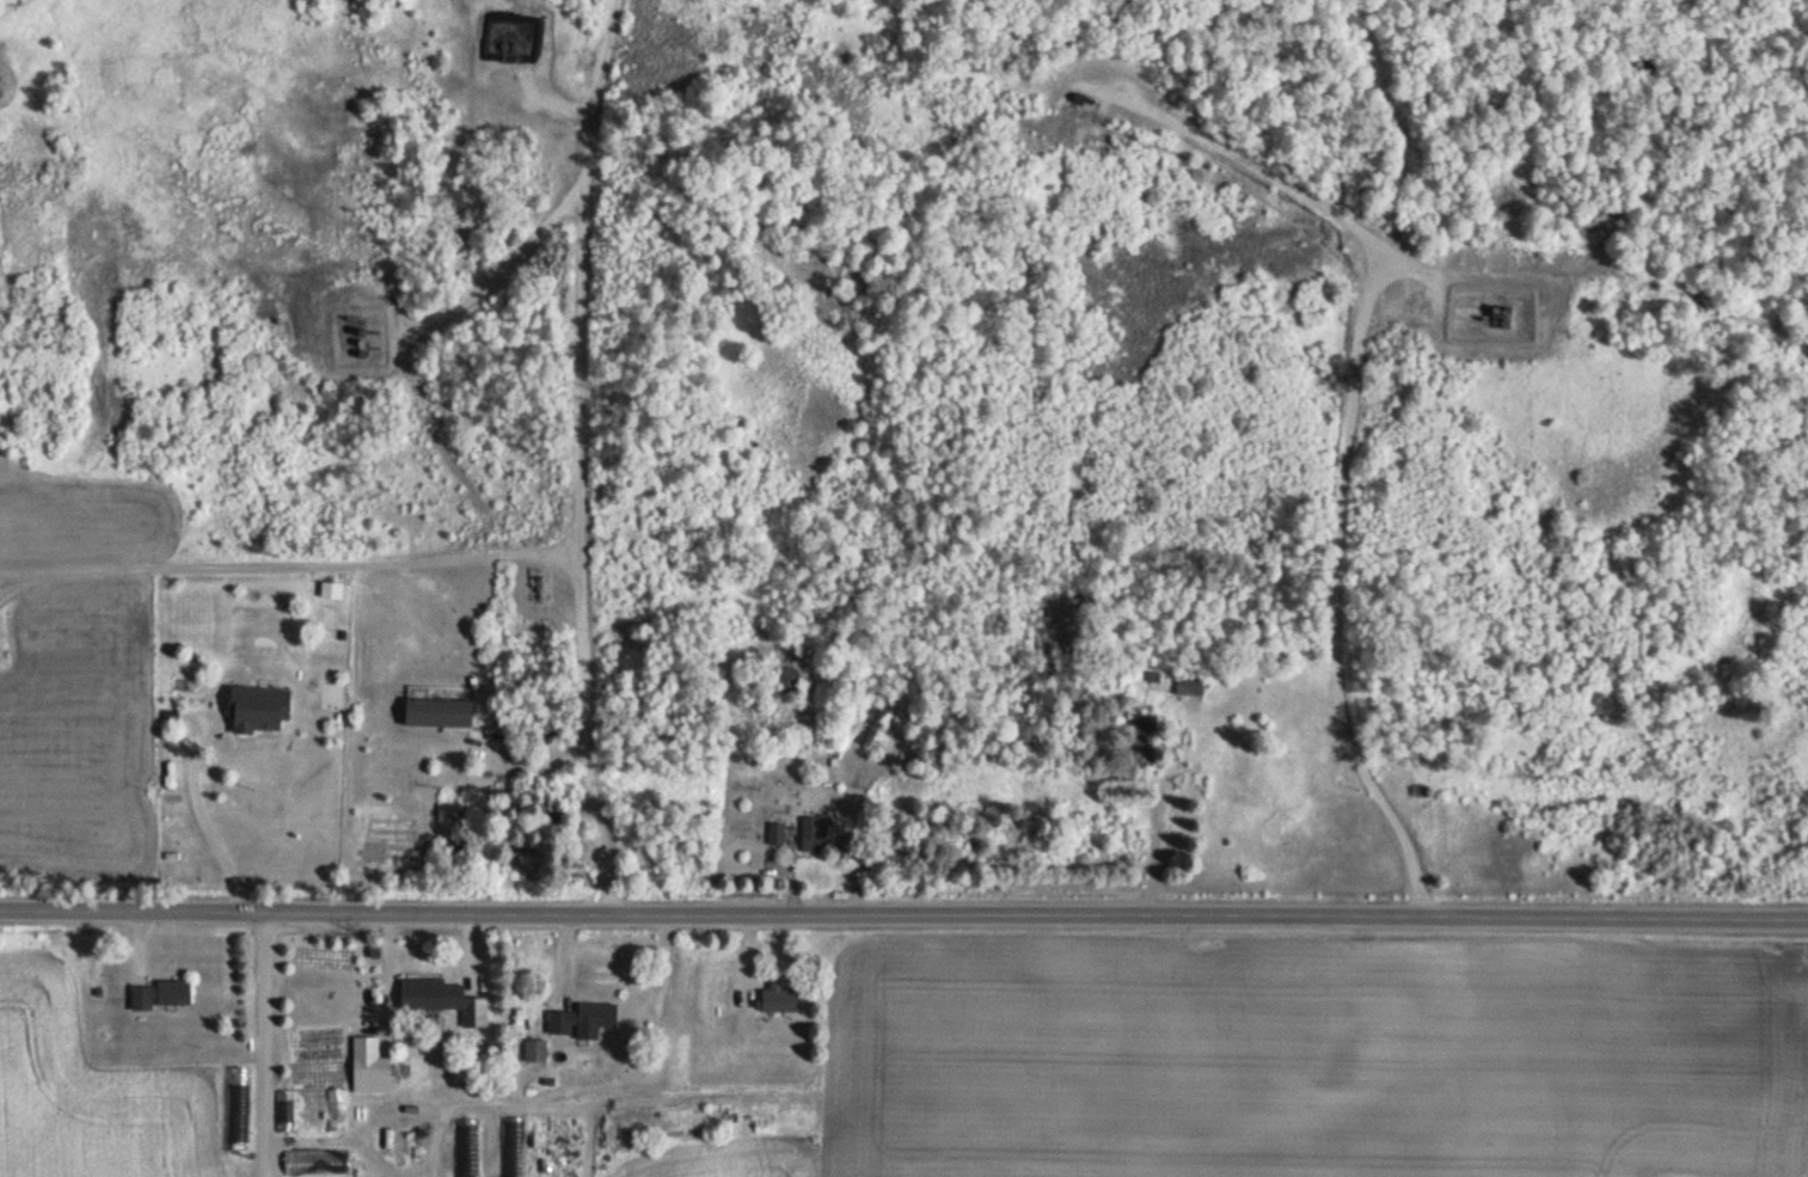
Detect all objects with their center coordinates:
building: (495, 41)
petroleum well: (1081, 97)
building: (1083, 99)
road: (583, 331)
road: (486, 427)
road: (1348, 461)
road: (299, 556)
building: (333, 590)
petroleum well: (540, 590)
building: (789, 680)
building: (1191, 686)
building: (261, 710)
building: (440, 712)
building: (876, 724)
building: (1145, 740)
road: (215, 820)
building: (460, 832)
building: (815, 833)
building: (778, 834)
road: (903, 915)
building: (330, 976)
building: (161, 995)
building: (445, 999)
building: (782, 1000)
building: (587, 1020)
road: (263, 1043)
building: (537, 1050)
building: (372, 1067)
building: (239, 1110)
building: (338, 1110)
building: (288, 1111)
building: (312, 1111)
building: (468, 1148)
building: (319, 1163)

